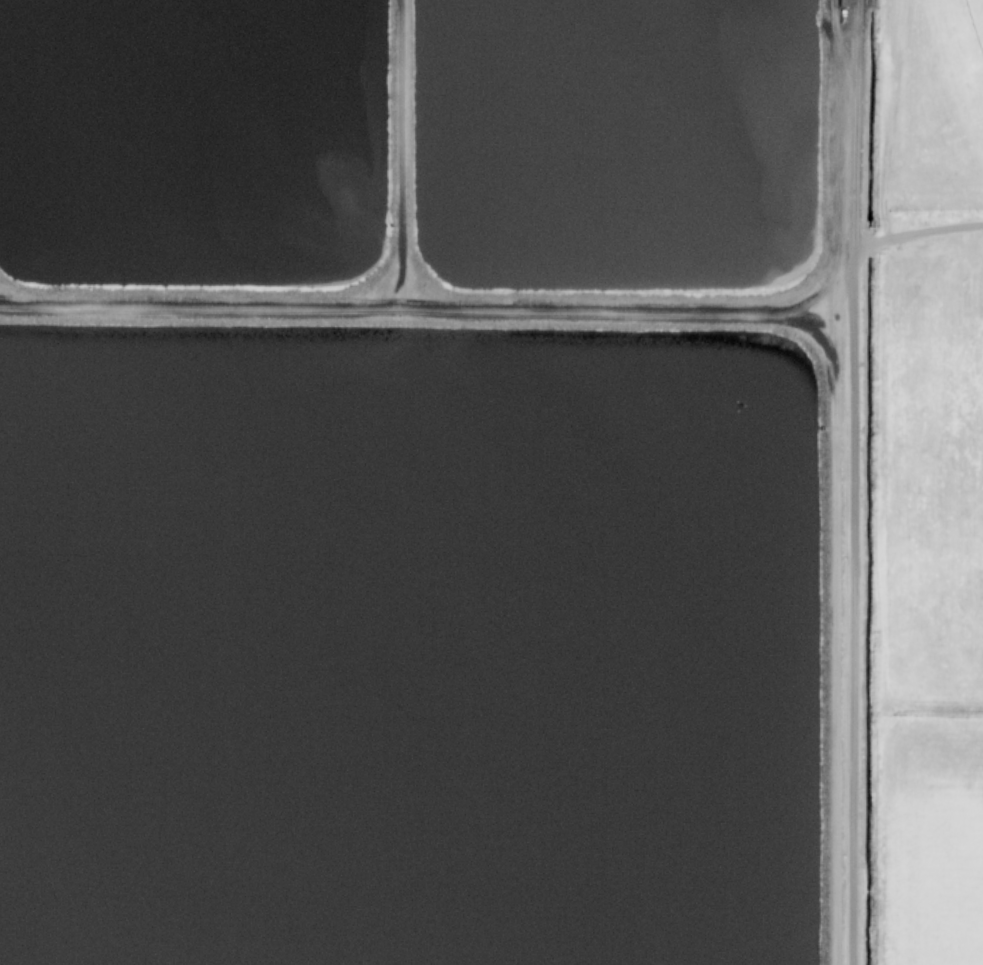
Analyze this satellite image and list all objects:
road: (918, 233)
wastewater plant: (439, 481)
road: (854, 482)

